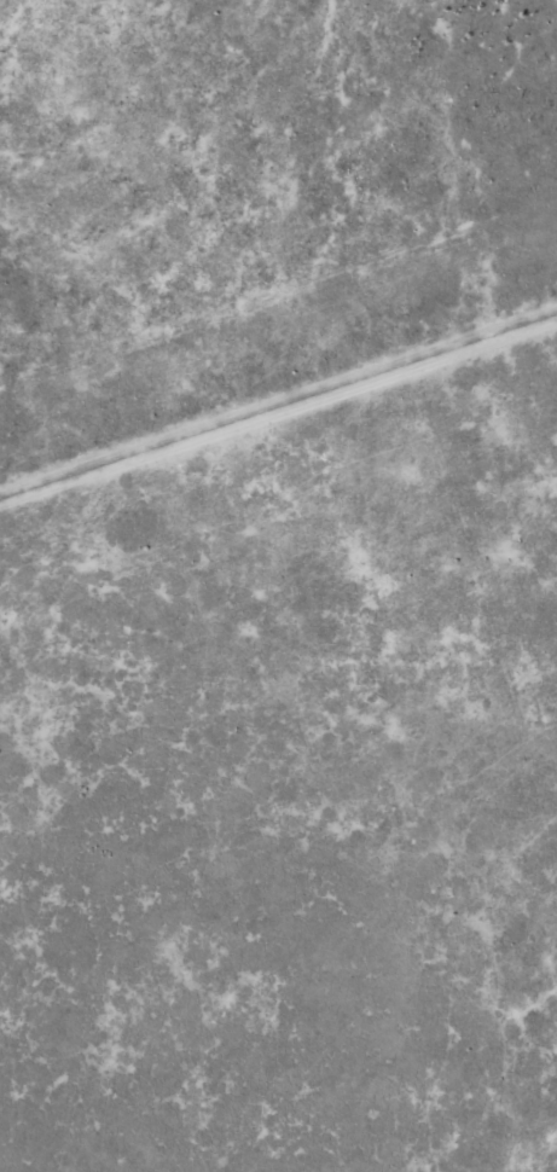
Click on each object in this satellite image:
airport runway: (278, 309)

